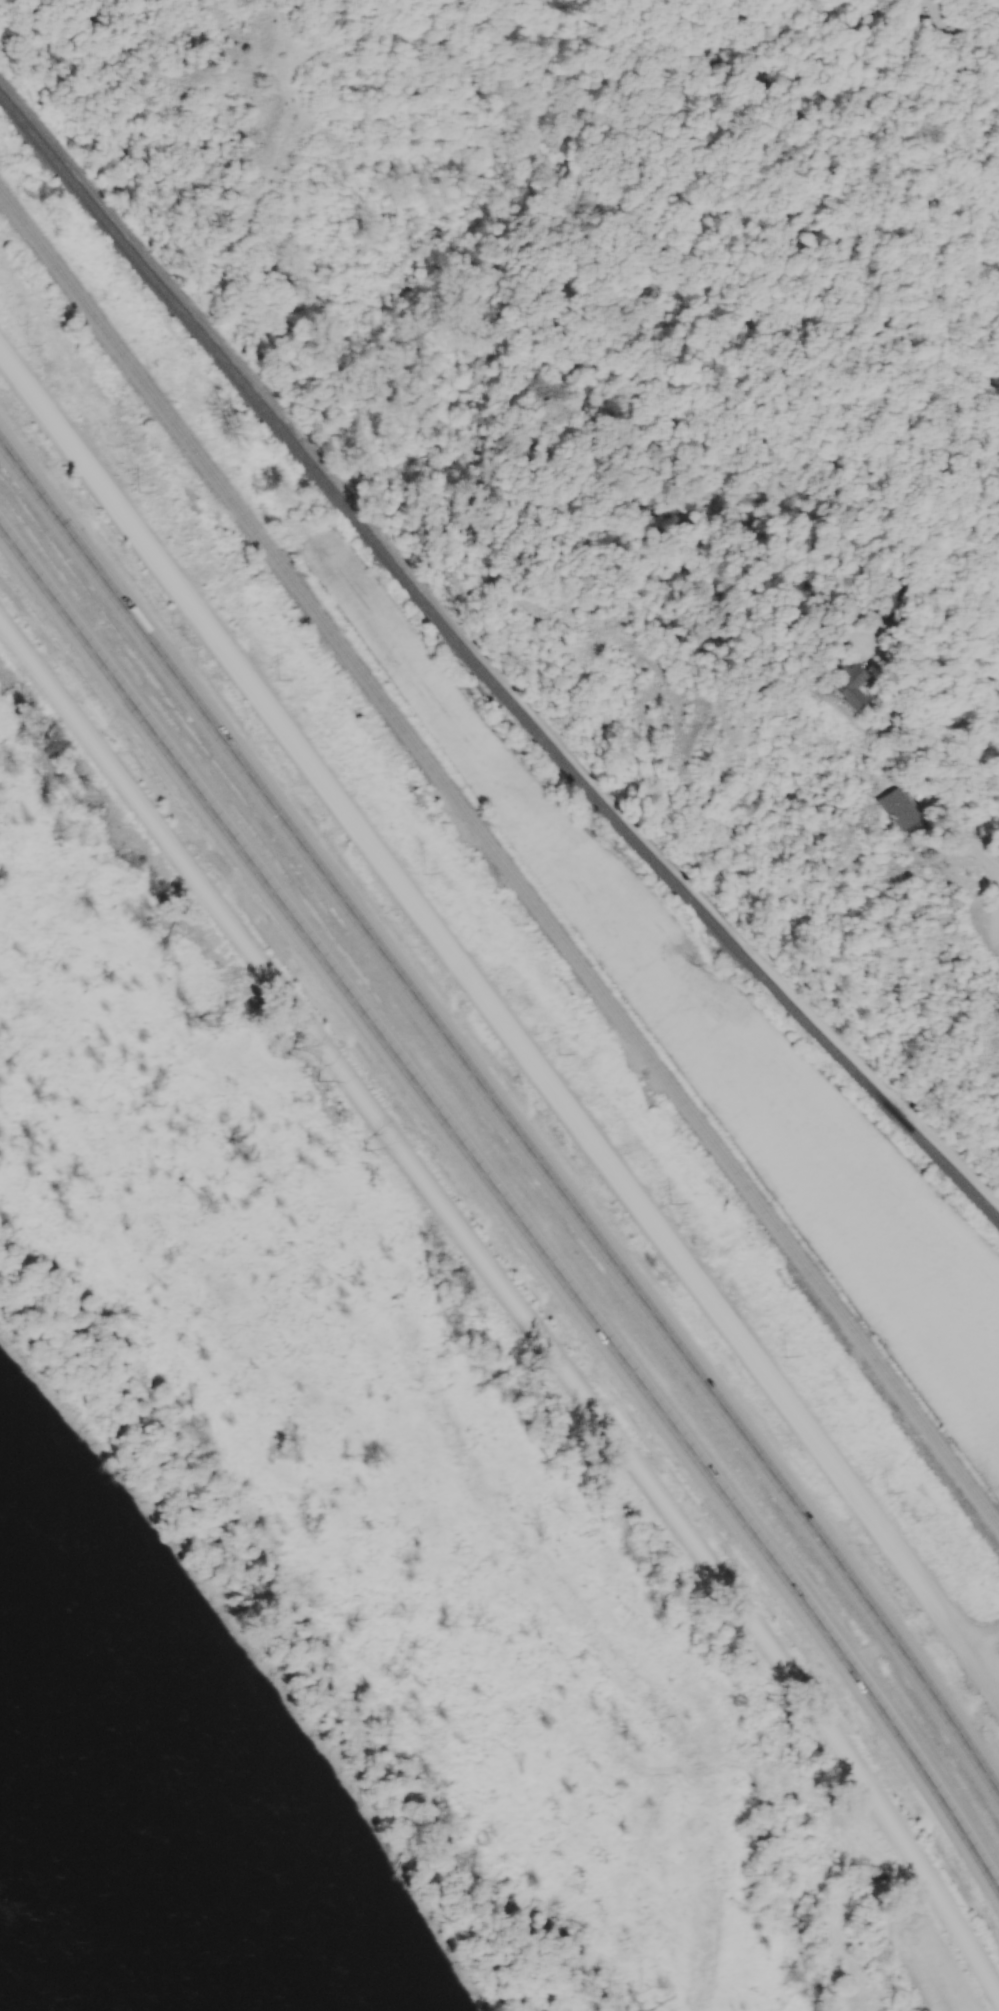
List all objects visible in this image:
power tower: (26, 344)
power tower: (138, 492)
railway: (484, 670)
power tower: (276, 679)
road: (919, 787)
building: (867, 809)
railway: (500, 861)
power tower: (422, 871)
building: (985, 974)
road: (502, 1022)
power tower: (556, 1053)
road: (503, 1113)
power tower: (671, 1200)
road: (507, 1206)
road: (512, 1302)
power tower: (786, 1355)
power tower: (887, 1496)
road: (982, 1643)
road: (871, 1652)
river: (102, 1834)

